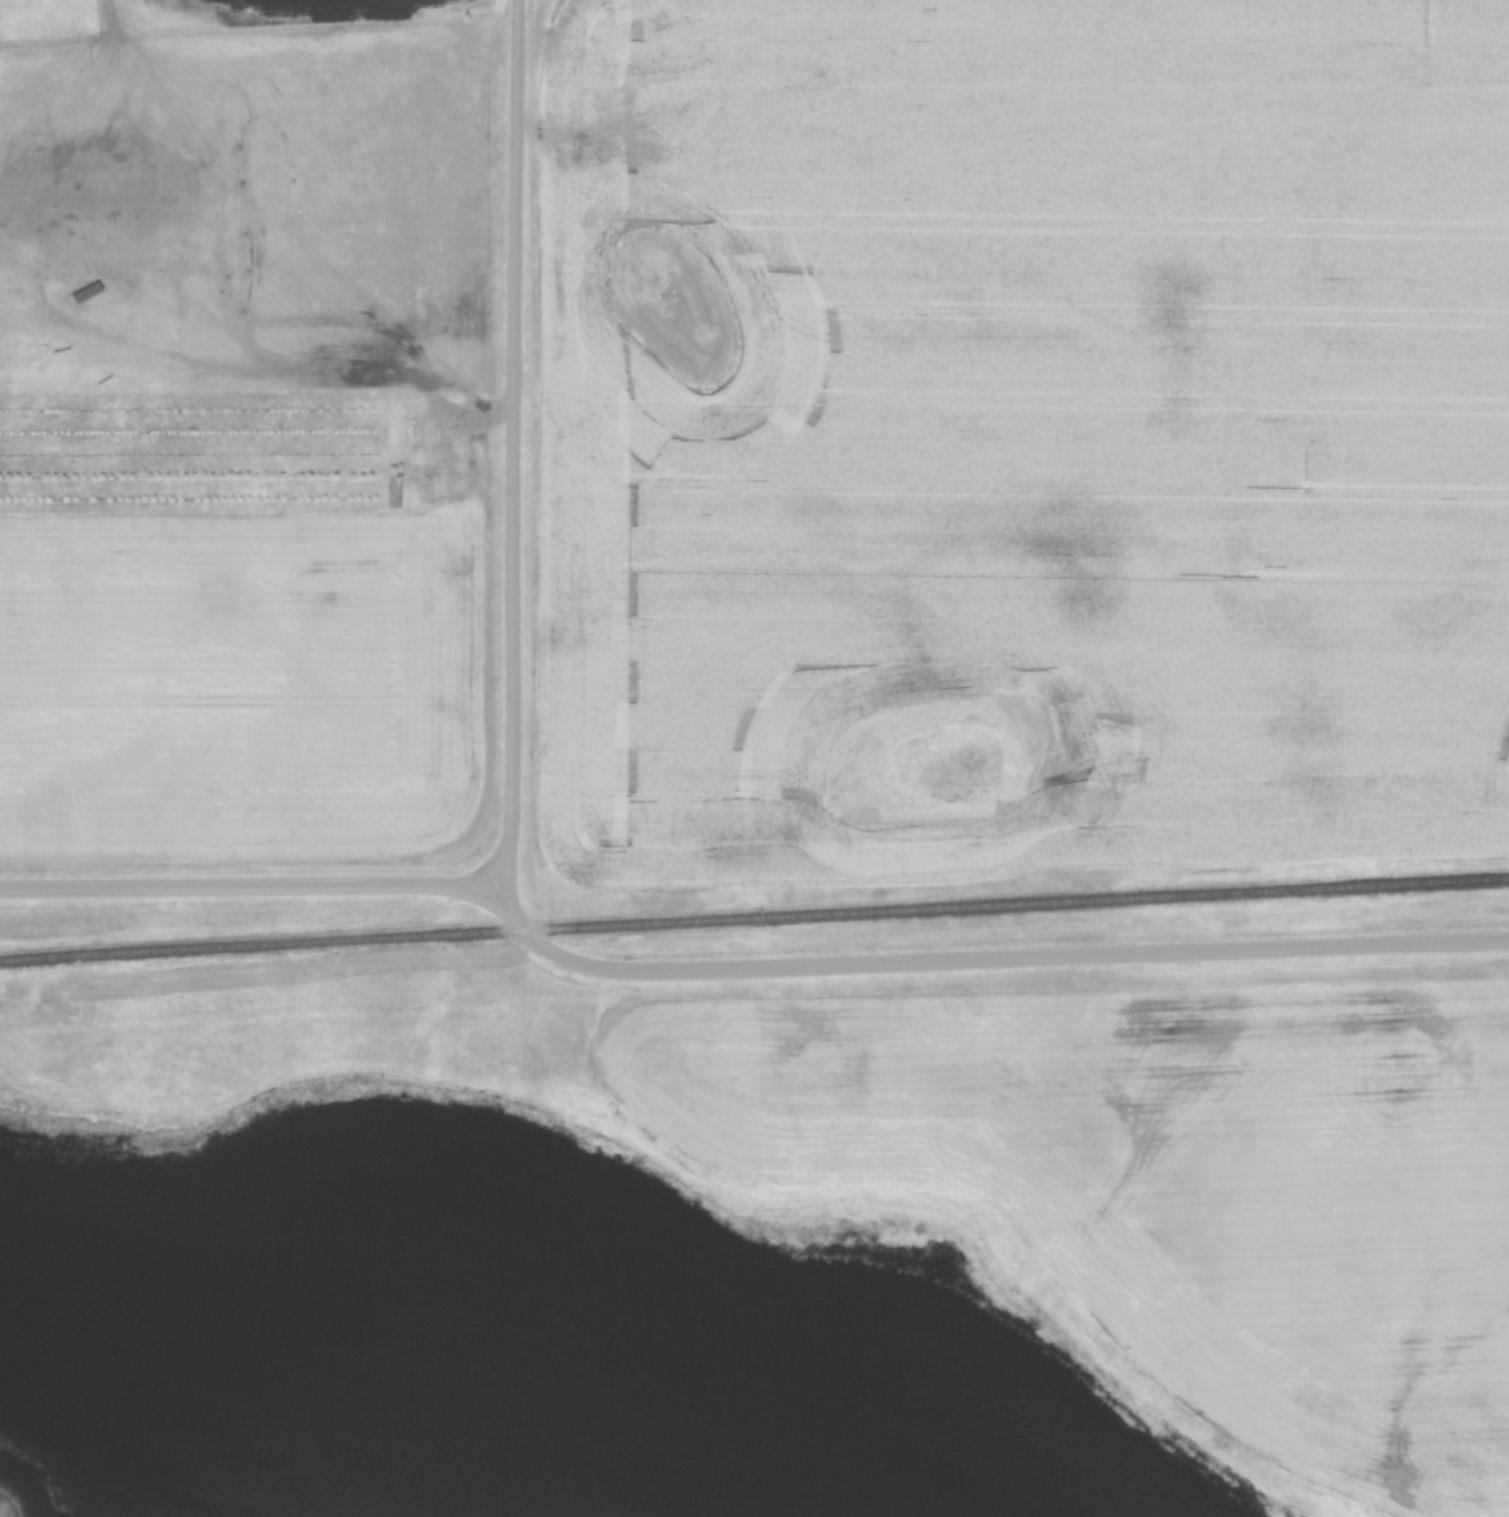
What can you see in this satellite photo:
road: (517, 443)
road: (255, 888)
railway: (753, 911)
road: (988, 959)

